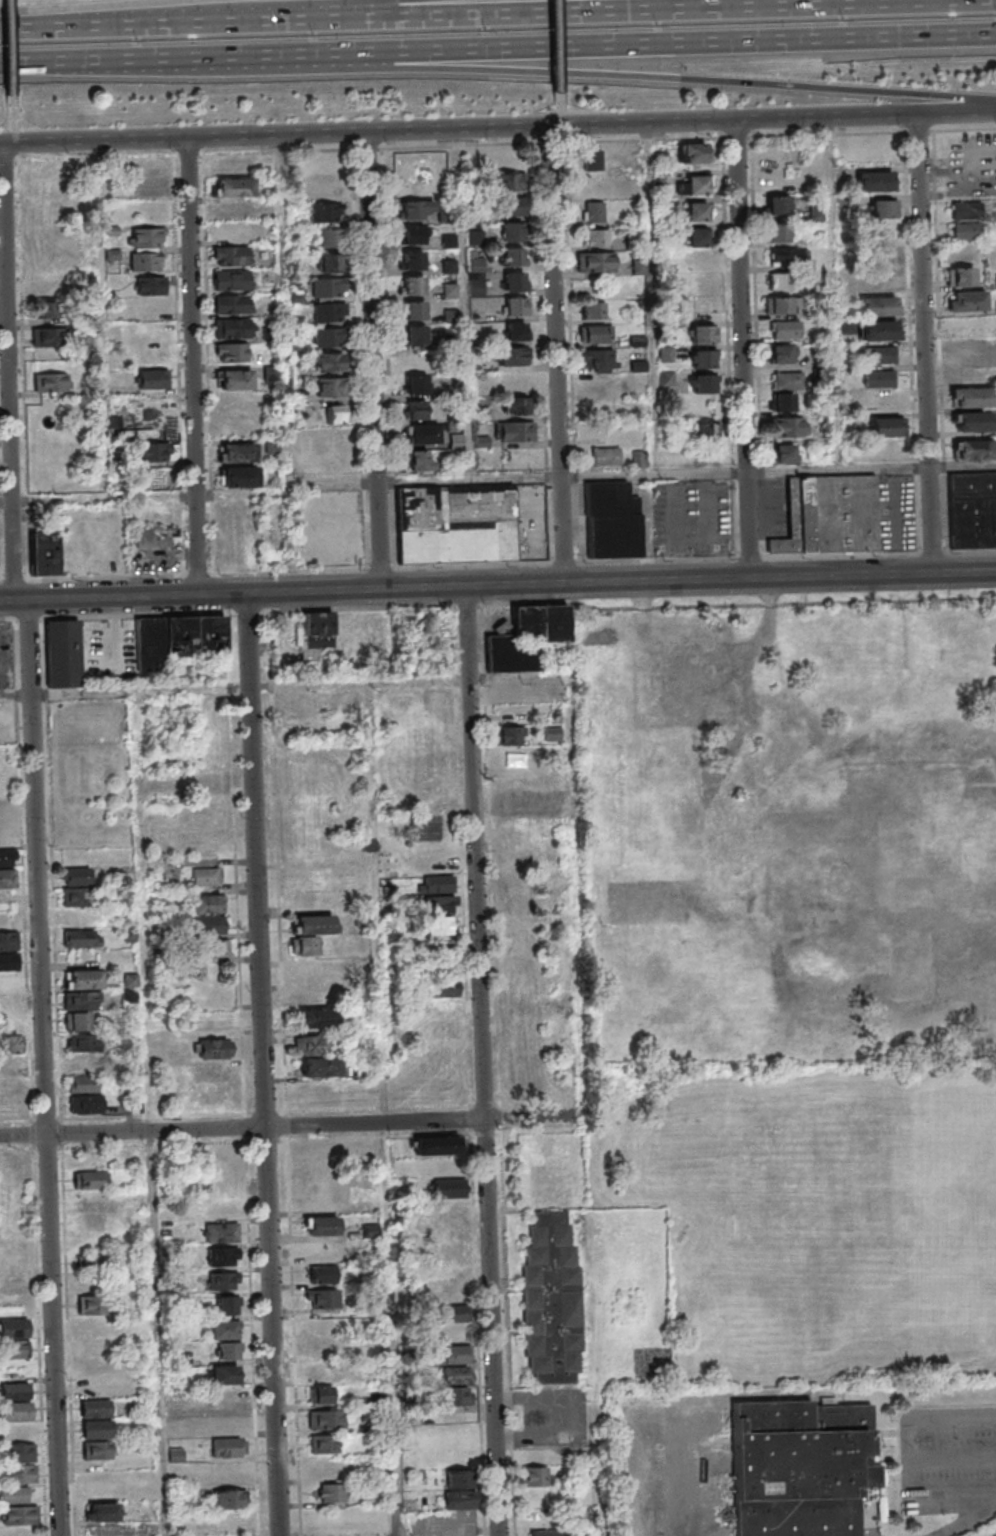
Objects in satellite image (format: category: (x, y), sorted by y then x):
road: (371, 7)
road: (534, 19)
road: (36, 33)
road: (693, 43)
road: (218, 59)
road: (9, 63)
road: (560, 63)
road: (23, 64)
road: (692, 84)
road: (956, 113)
road: (458, 130)
road: (12, 133)
building: (691, 153)
building: (592, 159)
building: (509, 161)
building: (233, 165)
building: (875, 181)
building: (504, 182)
building: (595, 183)
building: (695, 185)
building: (232, 187)
building: (321, 187)
building: (148, 189)
building: (43, 192)
building: (778, 204)
building: (506, 207)
building: (885, 208)
building: (416, 209)
building: (958, 209)
building: (234, 210)
building: (594, 211)
building: (697, 211)
building: (324, 212)
building: (511, 231)
building: (966, 231)
building: (778, 232)
building: (414, 235)
building: (474, 236)
building: (327, 237)
building: (597, 237)
building: (698, 237)
building: (145, 248)
building: (230, 255)
building: (786, 256)
building: (884, 256)
building: (512, 257)
building: (412, 260)
building: (328, 262)
building: (596, 262)
building: (476, 264)
building: (960, 276)
building: (231, 279)
building: (780, 280)
building: (885, 281)
building: (514, 282)
building: (151, 285)
building: (412, 285)
building: (698, 285)
building: (327, 287)
building: (475, 288)
road: (836, 294)
road: (657, 298)
building: (965, 300)
building: (232, 303)
building: (782, 304)
road: (466, 305)
building: (516, 306)
building: (878, 306)
building: (50, 308)
road: (287, 310)
building: (413, 310)
building: (595, 310)
building: (700, 310)
building: (329, 312)
road: (103, 318)
building: (235, 328)
building: (787, 329)
building: (877, 330)
building: (517, 331)
building: (598, 334)
building: (705, 334)
building: (415, 335)
building: (46, 337)
building: (326, 337)
road: (923, 344)
road: (742, 349)
building: (969, 349)
building: (231, 352)
building: (147, 354)
building: (784, 354)
building: (880, 354)
road: (555, 355)
building: (512, 356)
building: (704, 358)
building: (328, 361)
road: (372, 361)
road: (197, 365)
building: (598, 370)
road: (10, 371)
building: (270, 373)
building: (969, 373)
building: (667, 378)
building: (879, 378)
building: (153, 379)
building: (235, 379)
building: (788, 380)
building: (50, 382)
building: (429, 383)
building: (704, 384)
building: (329, 387)
building: (971, 397)
building: (783, 401)
building: (881, 402)
building: (149, 403)
building: (514, 405)
building: (416, 410)
building: (336, 414)
building: (974, 421)
building: (790, 426)
building: (885, 426)
building: (154, 427)
building: (706, 430)
building: (516, 431)
building: (425, 434)
building: (272, 448)
building: (974, 449)
building: (154, 451)
building: (236, 452)
building: (785, 453)
building: (606, 456)
building: (639, 458)
building: (420, 461)
road: (962, 467)
road: (743, 472)
building: (239, 476)
road: (280, 492)
building: (972, 510)
building: (831, 516)
building: (612, 520)
building: (456, 525)
building: (152, 537)
building: (43, 553)
road: (620, 582)
road: (131, 597)
road: (8, 602)
building: (556, 625)
building: (317, 635)
building: (519, 644)
building: (152, 645)
building: (62, 653)
road: (234, 688)
building: (507, 692)
building: (435, 694)
building: (303, 706)
building: (552, 733)
building: (511, 735)
building: (435, 738)
building: (431, 779)
building: (210, 780)
building: (512, 798)
building: (5, 816)
building: (5, 837)
building: (7, 858)
building: (433, 863)
building: (206, 876)
building: (76, 877)
building: (7, 878)
building: (513, 881)
building: (439, 883)
building: (313, 896)
building: (206, 903)
building: (440, 904)
building: (78, 907)
building: (204, 924)
building: (313, 924)
building: (442, 925)
building: (82, 938)
building: (8, 940)
building: (304, 945)
building: (209, 948)
building: (9, 961)
building: (314, 972)
building: (444, 987)
building: (83, 989)
building: (130, 997)
building: (316, 997)
building: (523, 1005)
building: (317, 1018)
building: (81, 1021)
building: (207, 1021)
building: (445, 1029)
building: (311, 1045)
building: (215, 1048)
building: (11, 1054)
building: (83, 1054)
road: (481, 1061)
road: (262, 1064)
building: (320, 1067)
road: (43, 1068)
building: (209, 1073)
building: (83, 1084)
building: (97, 1105)
road: (380, 1110)
road: (150, 1113)
road: (290, 1126)
building: (438, 1145)
building: (316, 1177)
building: (91, 1179)
building: (450, 1188)
building: (321, 1201)
building: (222, 1208)
building: (88, 1211)
building: (451, 1219)
building: (321, 1225)
park: (791, 1226)
park: (821, 1227)
building: (220, 1232)
building: (322, 1249)
building: (451, 1250)
building: (223, 1256)
building: (90, 1263)
building: (321, 1274)
building: (224, 1280)
building: (13, 1286)
building: (452, 1291)
building: (322, 1298)
building: (552, 1301)
building: (92, 1304)
building: (227, 1304)
building: (454, 1323)
building: (95, 1326)
building: (14, 1327)
building: (224, 1329)
building: (323, 1347)
building: (15, 1349)
building: (229, 1350)
building: (95, 1367)
building: (322, 1372)
building: (225, 1374)
building: (457, 1375)
building: (321, 1394)
building: (225, 1398)
building: (15, 1401)
building: (95, 1407)
building: (327, 1419)
building: (229, 1422)
building: (97, 1429)
building: (325, 1444)
building: (228, 1448)
building: (97, 1450)
building: (20, 1453)
road: (913, 1456)
parking lot: (948, 1458)
building: (799, 1467)
building: (534, 1476)
building: (458, 1478)
building: (331, 1492)
building: (14, 1495)
building: (229, 1499)
building: (460, 1500)
building: (101, 1502)
building: (19, 1515)
road: (966, 1521)
building: (545, 1532)

